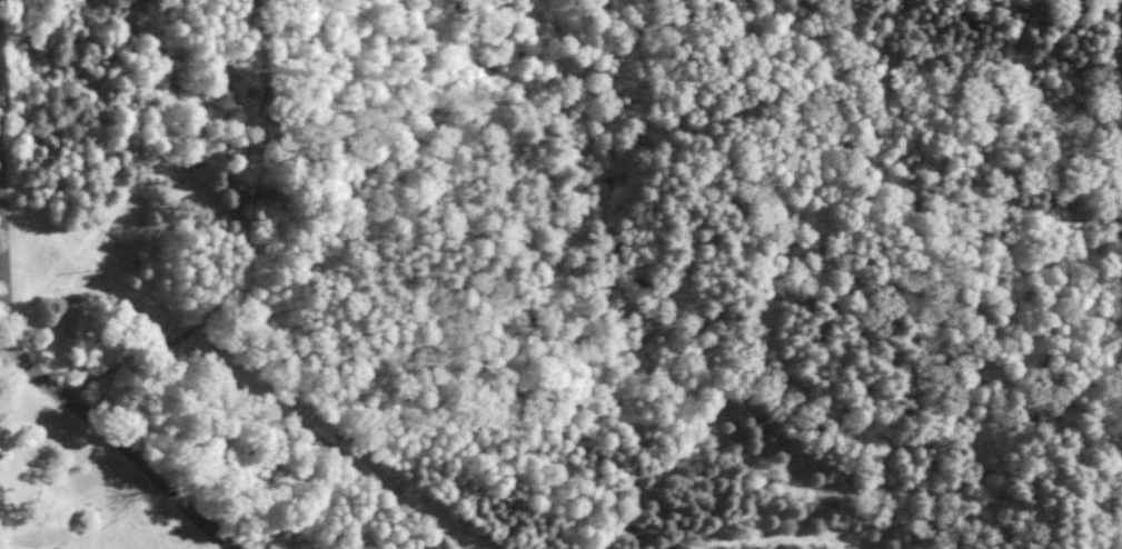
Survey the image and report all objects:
road: (247, 248)
road: (66, 401)

